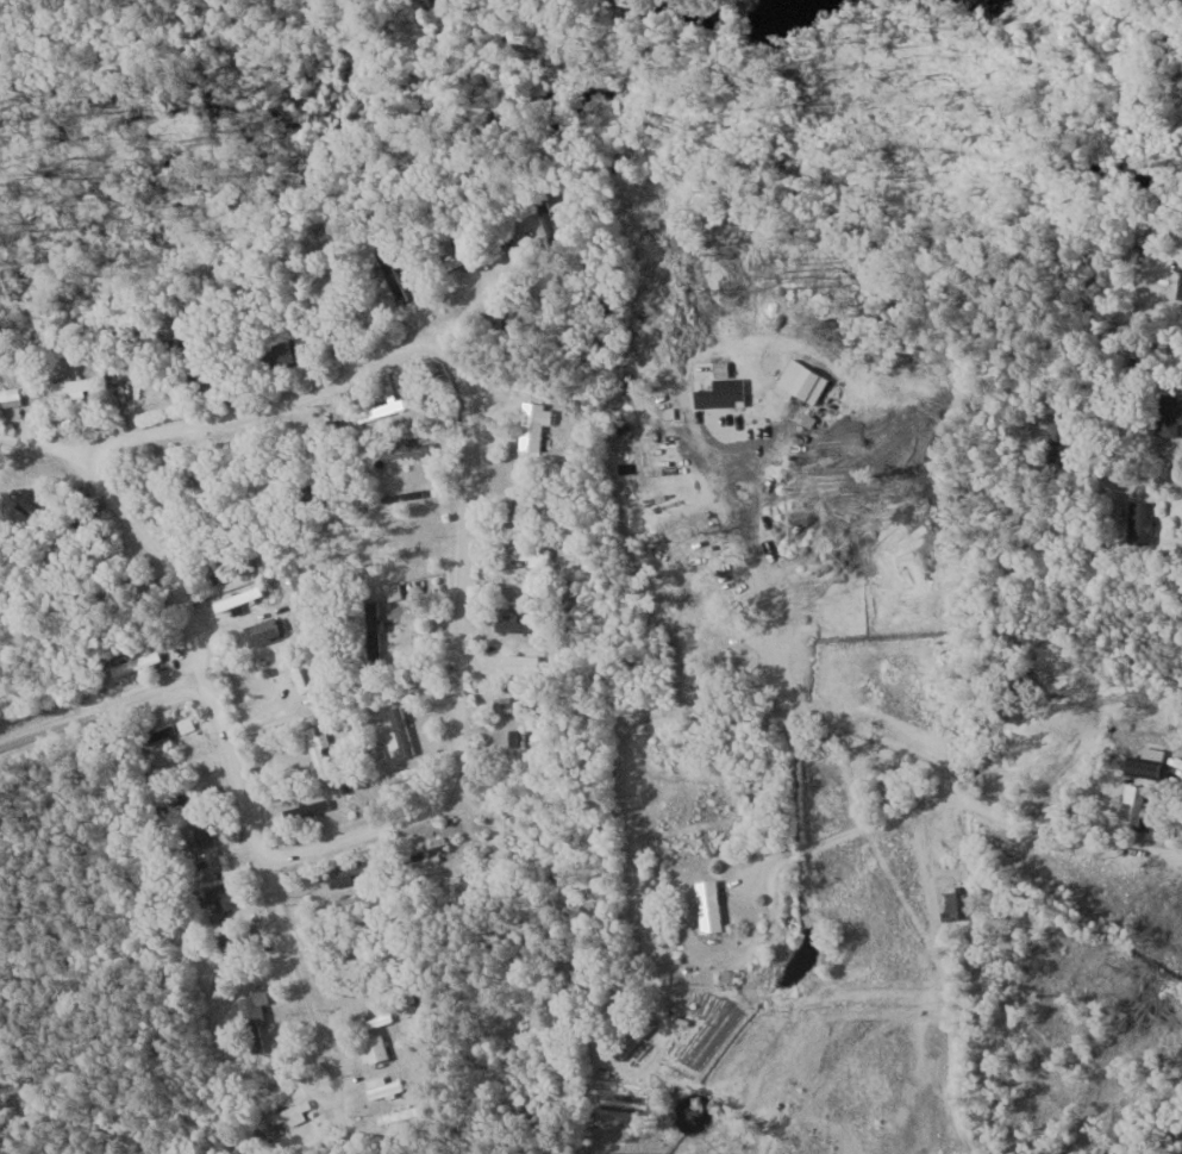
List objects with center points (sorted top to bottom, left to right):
building: (1178, 281)
building: (168, 325)
building: (281, 353)
building: (67, 388)
building: (721, 388)
building: (8, 398)
road: (279, 399)
building: (381, 414)
building: (1167, 414)
building: (531, 424)
building: (412, 448)
road: (1161, 479)
building: (26, 503)
building: (1139, 522)
building: (527, 553)
building: (219, 572)
building: (370, 630)
building: (263, 631)
road: (461, 655)
building: (137, 662)
building: (508, 705)
road: (102, 711)
road: (673, 725)
building: (400, 729)
building: (158, 734)
building: (512, 740)
building: (317, 747)
building: (401, 772)
road: (239, 785)
building: (170, 800)
building: (1143, 809)
building: (198, 831)
building: (429, 849)
building: (342, 871)
road: (1063, 877)
building: (220, 896)
building: (953, 903)
building: (707, 905)
building: (236, 937)
building: (255, 1015)
building: (632, 1036)
building: (373, 1046)
building: (382, 1085)

